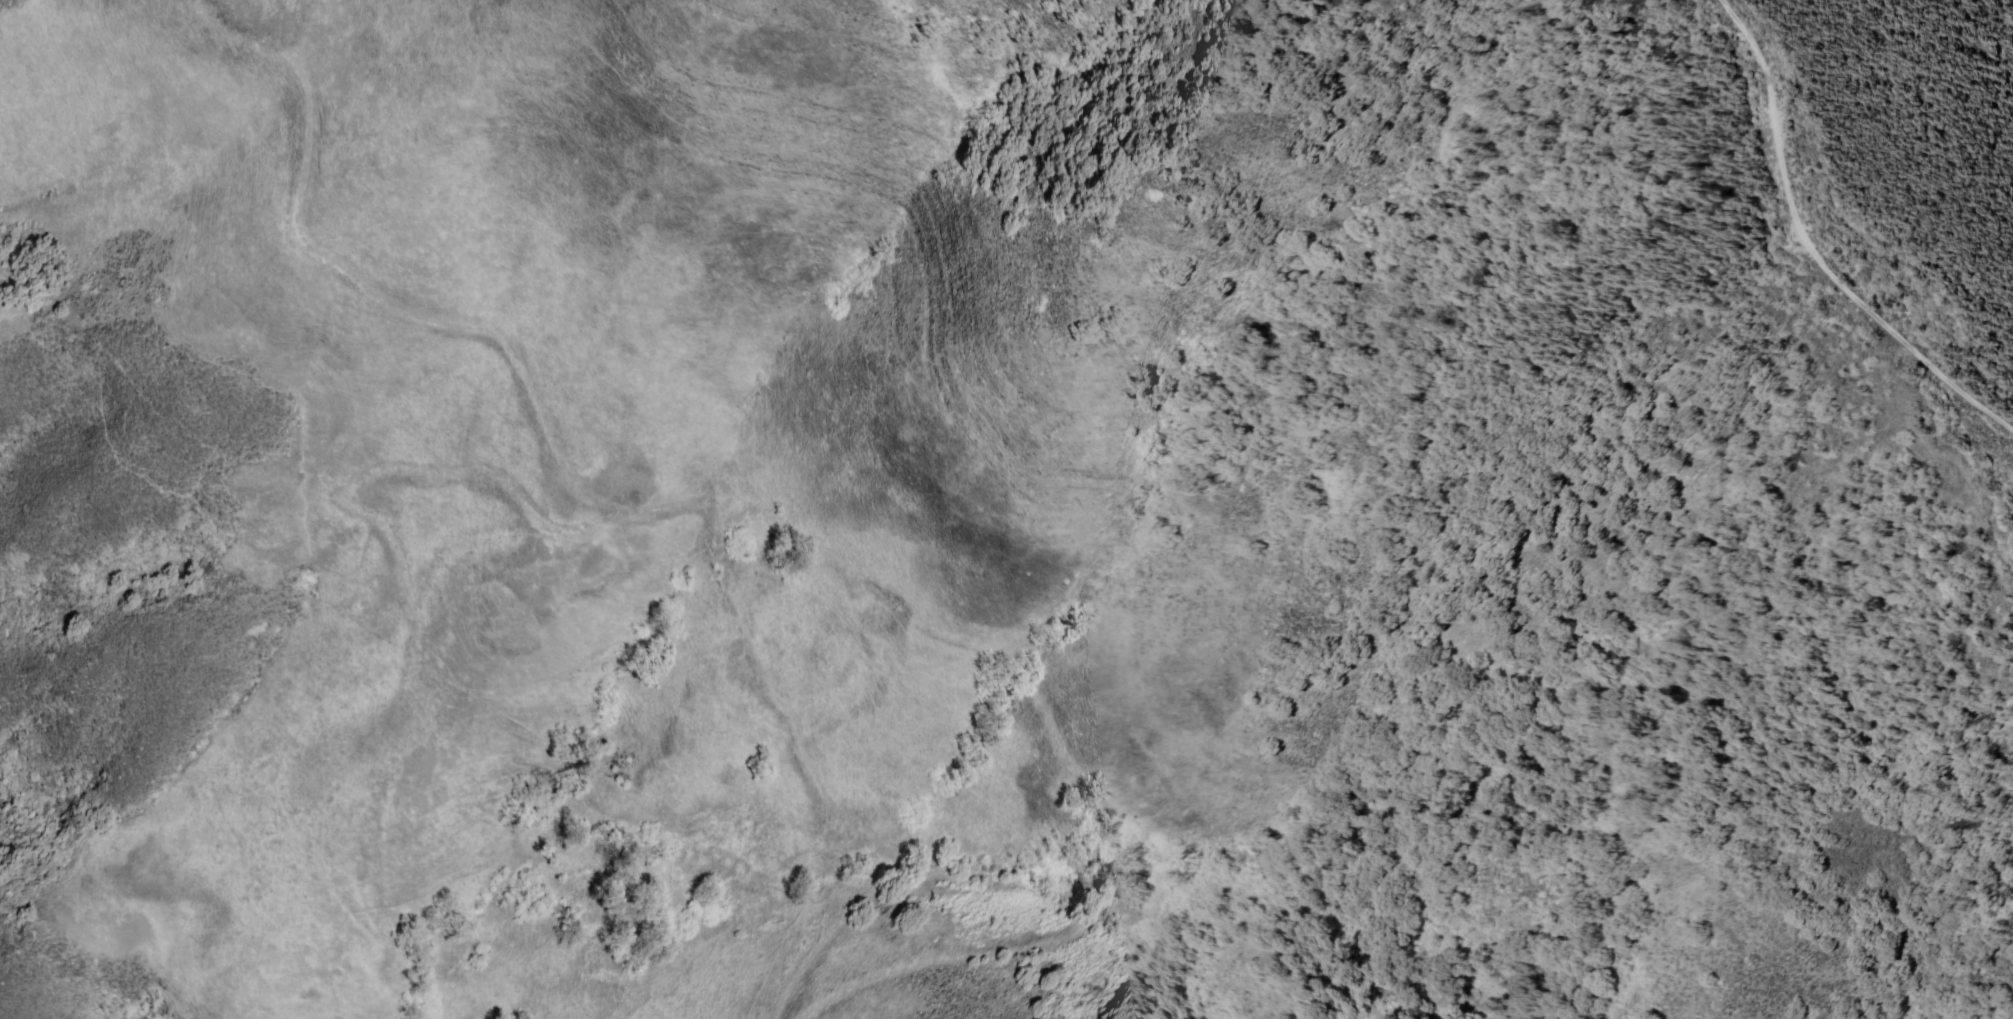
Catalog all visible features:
road: (1813, 252)
road: (598, 503)

